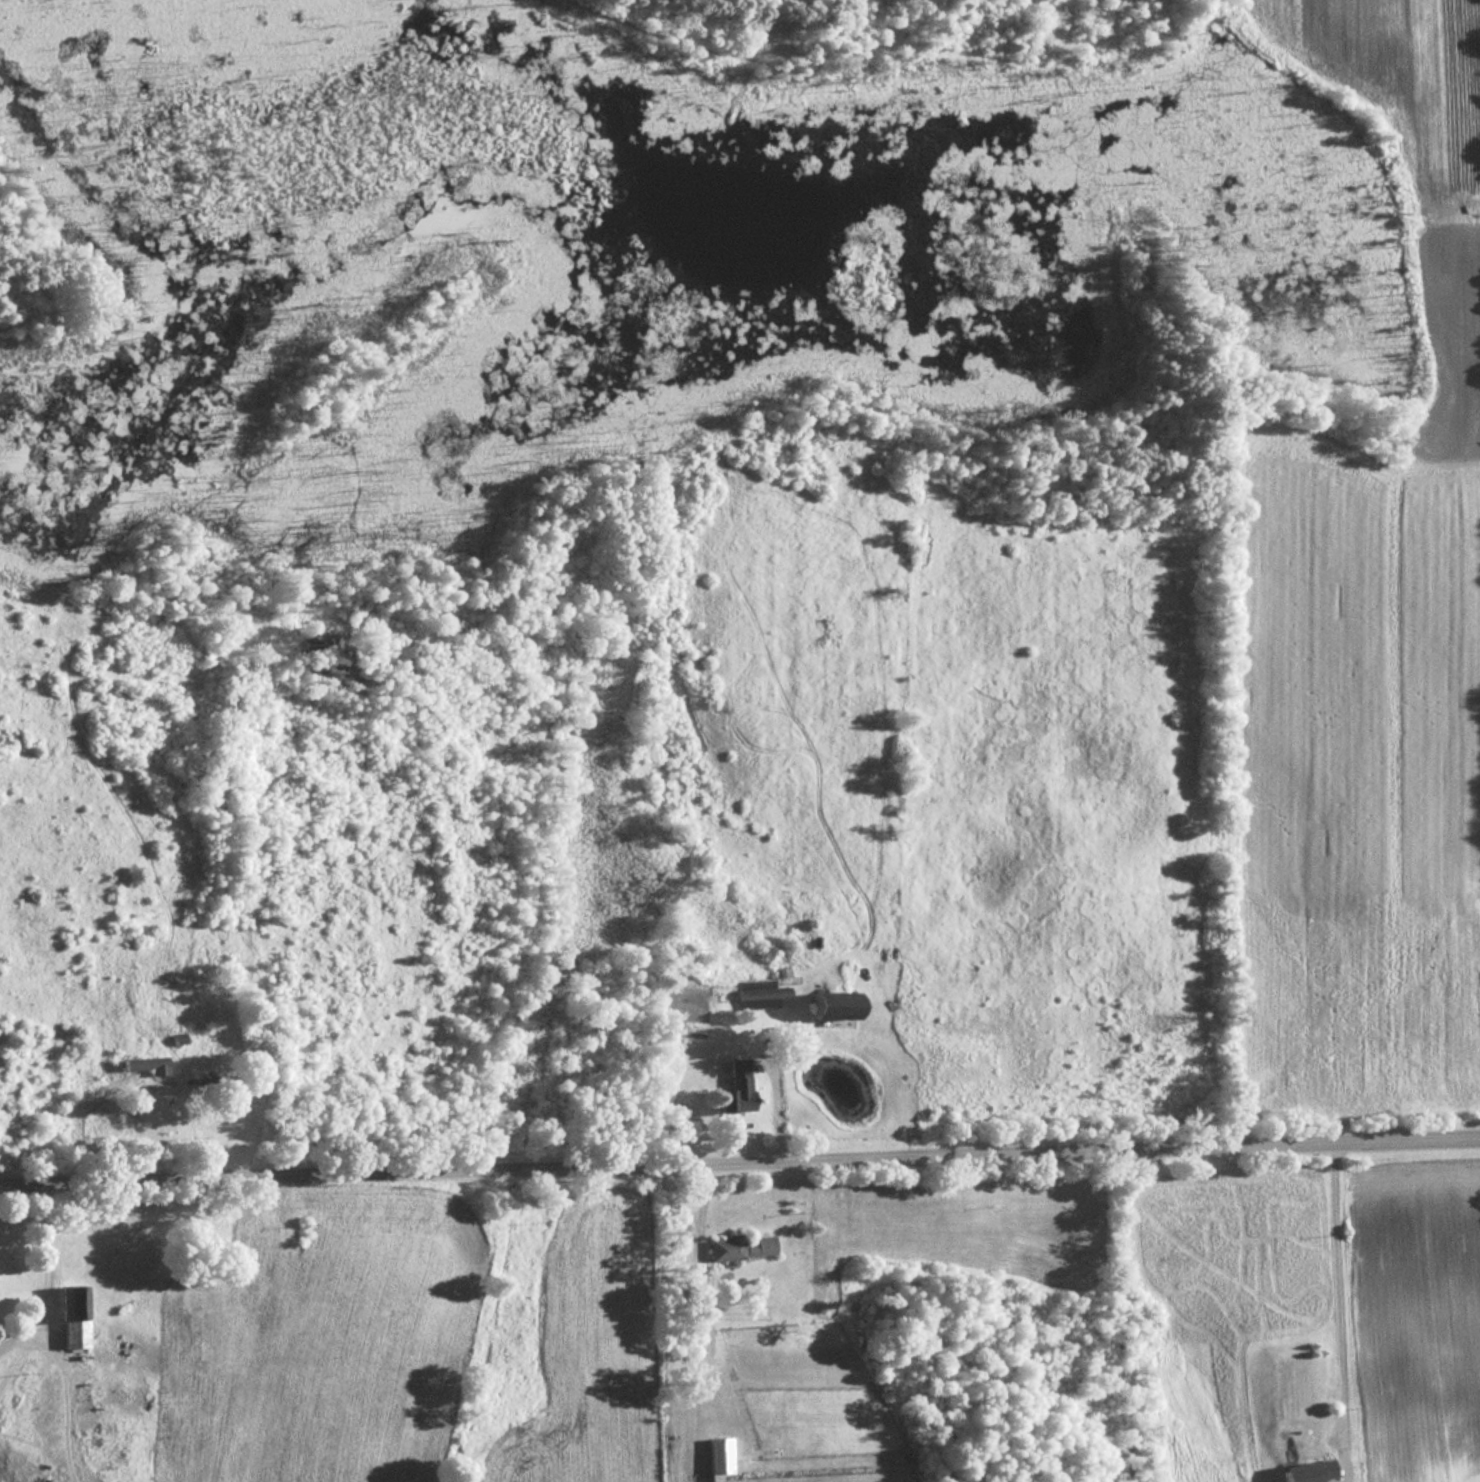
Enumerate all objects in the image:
building: (779, 973)
building: (758, 998)
building: (823, 1009)
building: (145, 1066)
building: (732, 1089)
road: (739, 1154)
building: (737, 1246)
road: (52, 1257)
road: (1333, 1311)
building: (70, 1317)
building: (714, 1456)
building: (1306, 1472)

